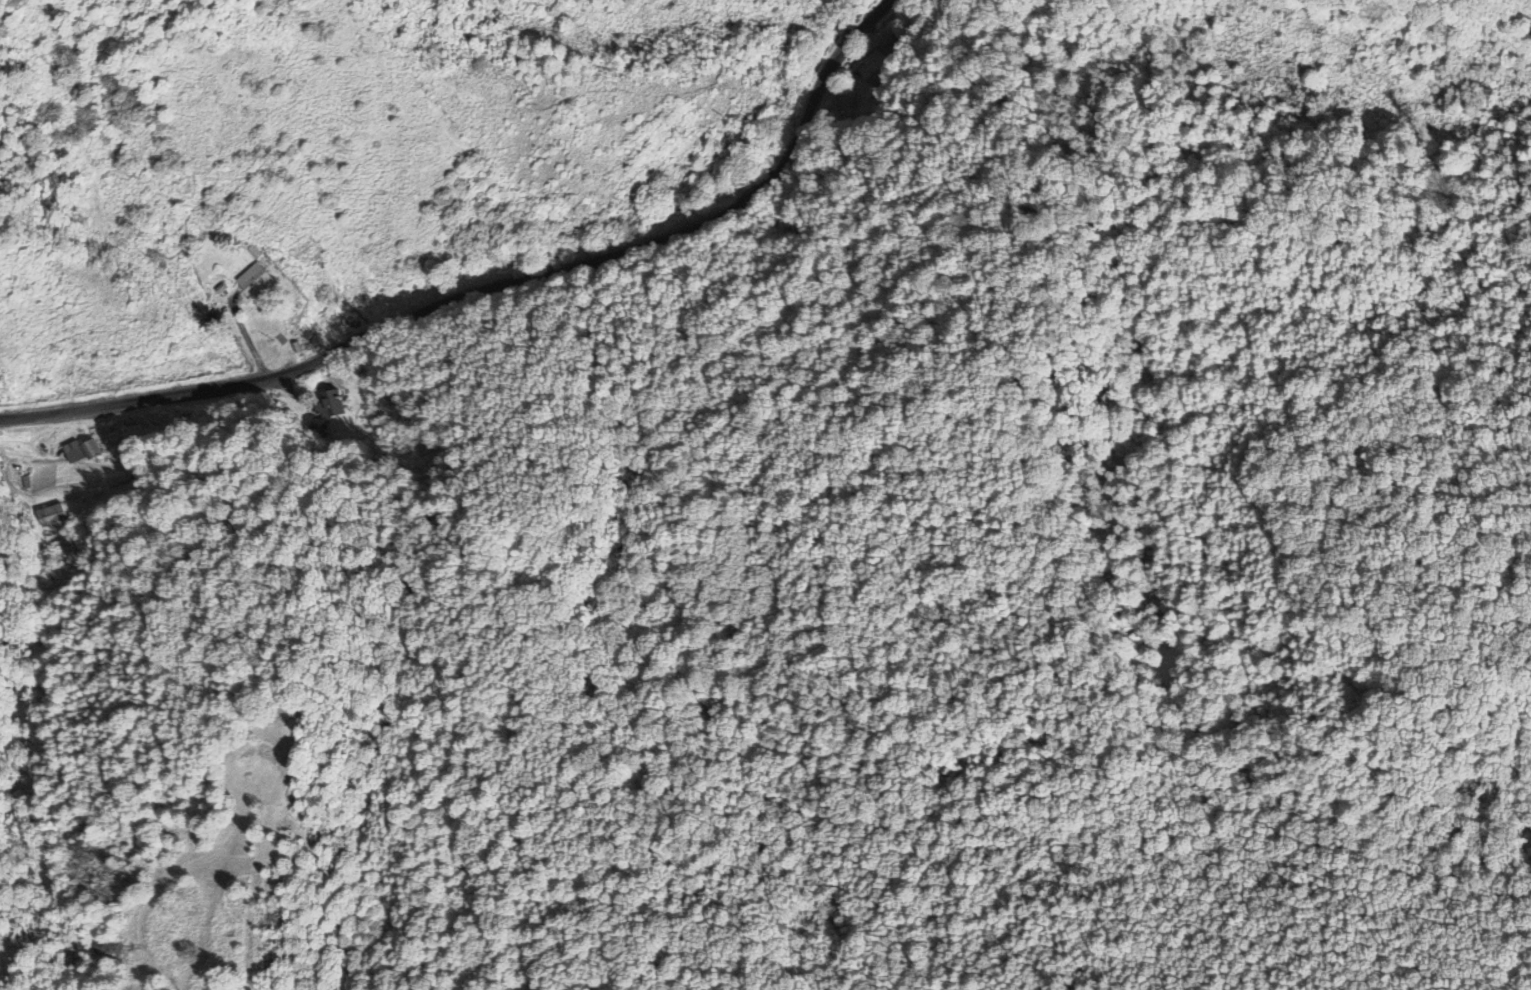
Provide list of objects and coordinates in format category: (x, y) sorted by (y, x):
road: (839, 24)
road: (496, 289)

